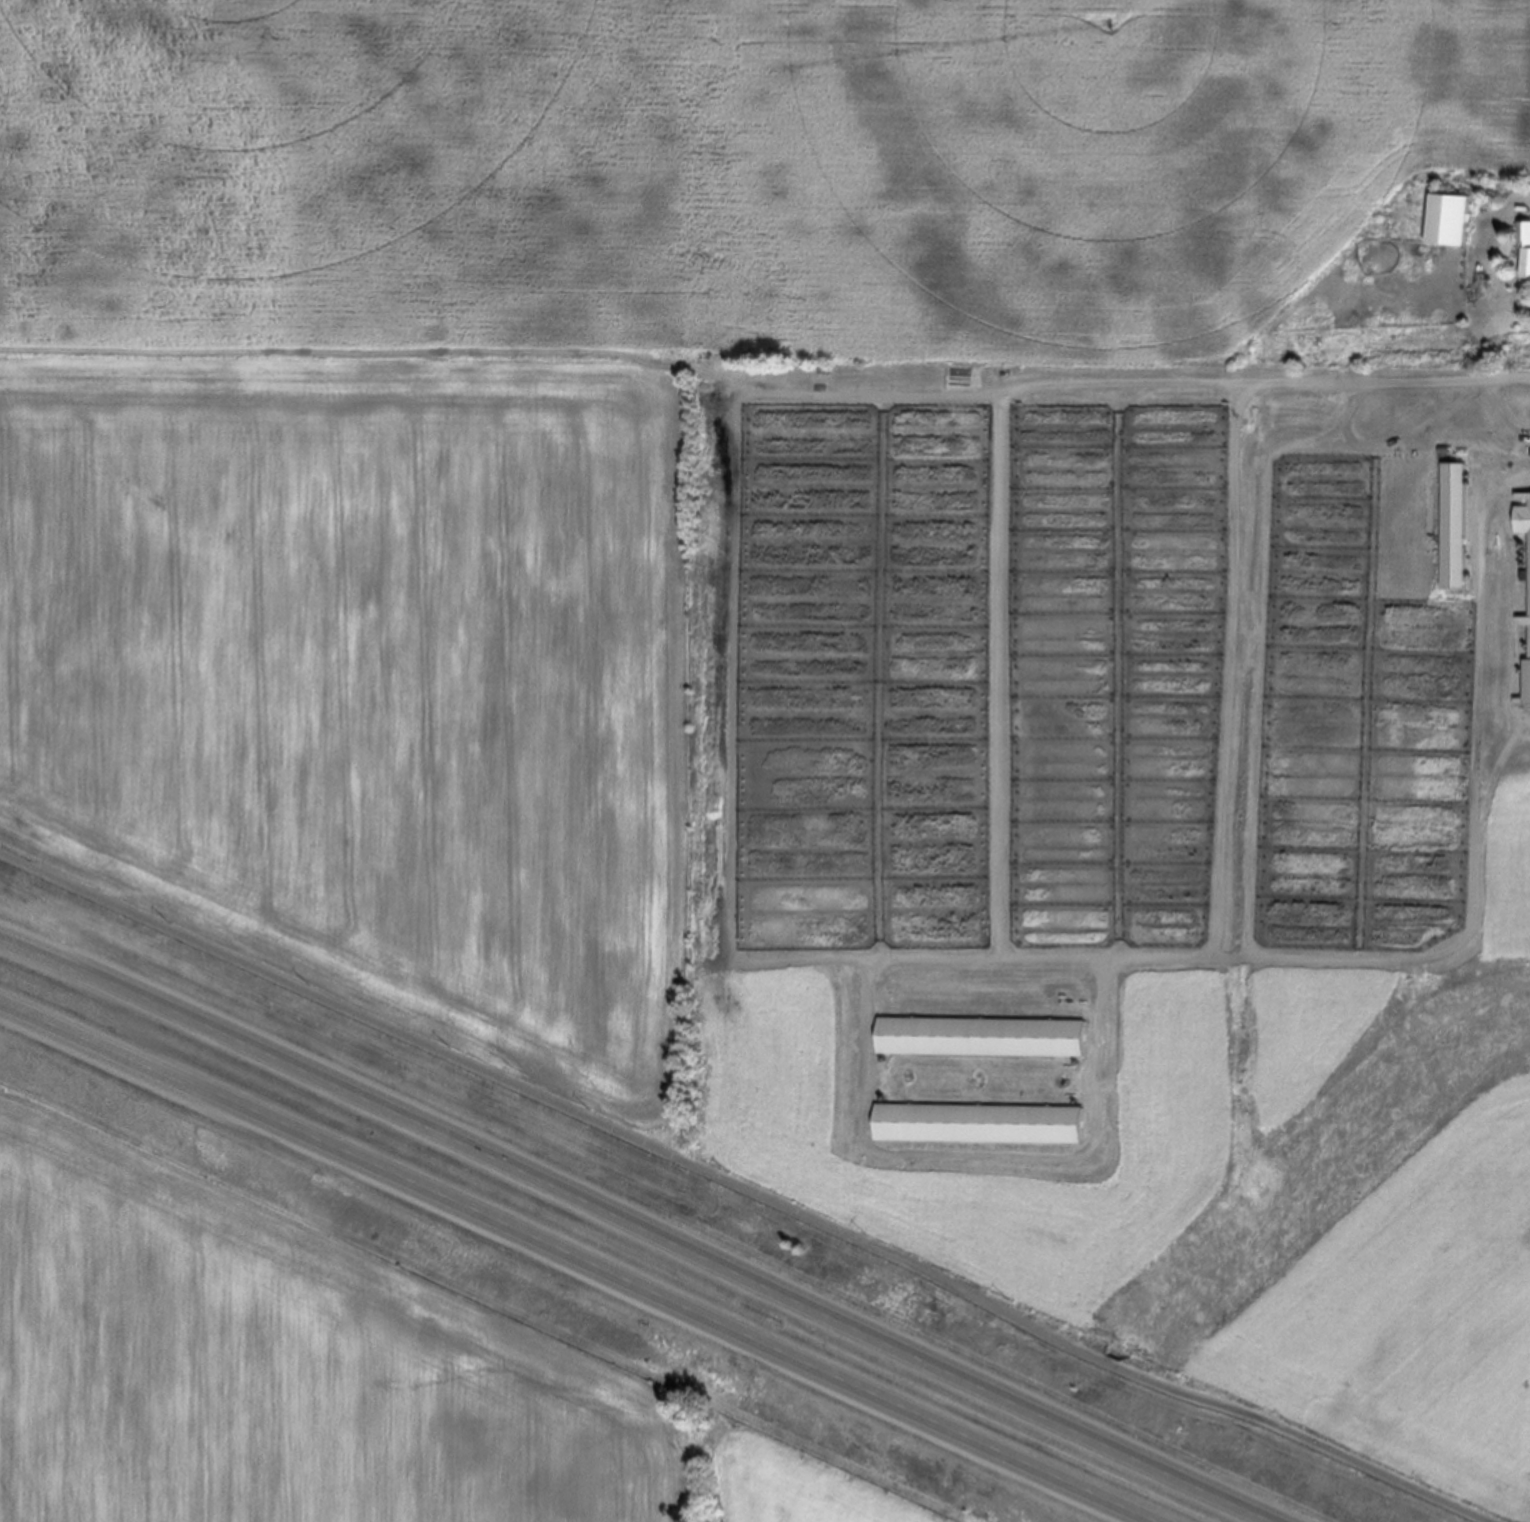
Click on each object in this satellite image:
building: (1450, 219)
building: (1525, 245)
building: (1523, 519)
building: (1078, 607)
crop: (825, 618)
building: (1528, 680)
building: (1397, 707)
building: (853, 727)
building: (1071, 777)
building: (981, 1036)
building: (980, 1122)
road: (746, 1187)
road: (628, 1229)
road: (568, 1267)
crop: (322, 1375)

